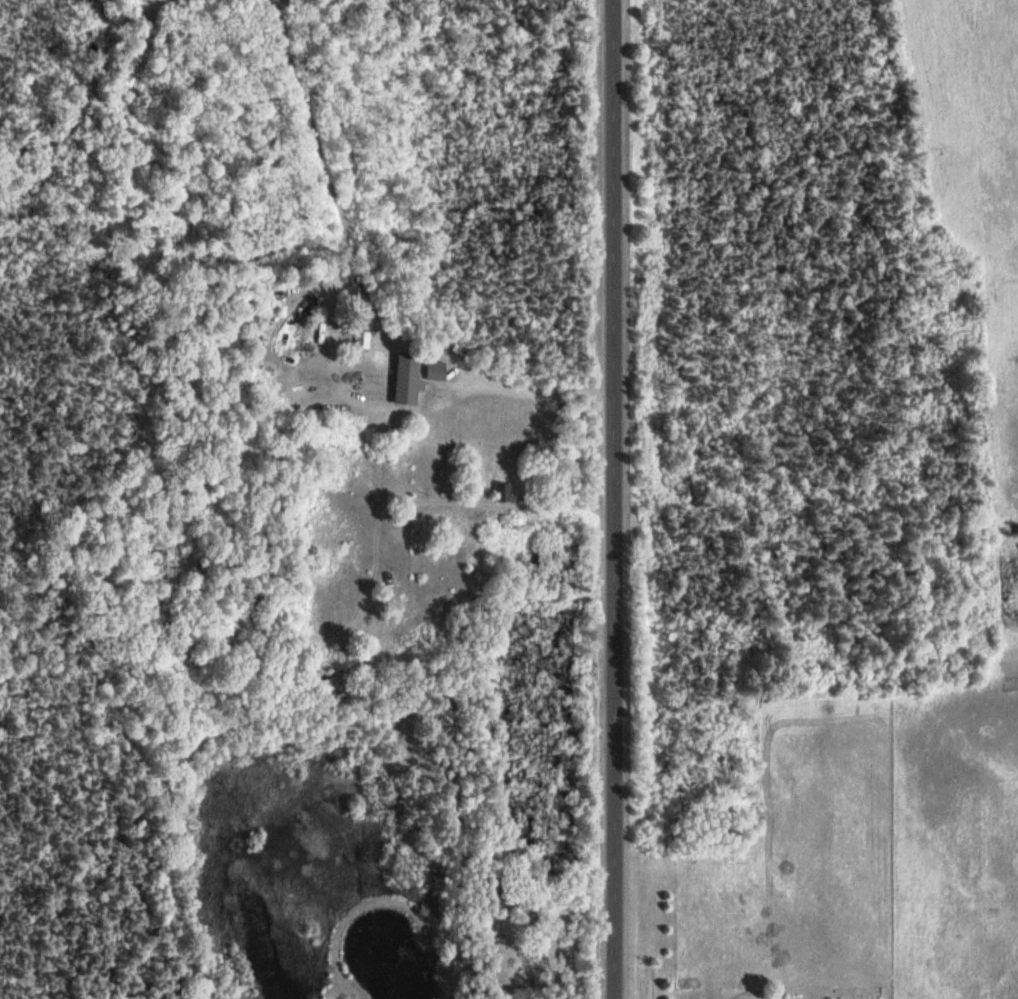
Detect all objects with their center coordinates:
building: (366, 339)
building: (414, 378)
building: (500, 492)
road: (620, 499)

